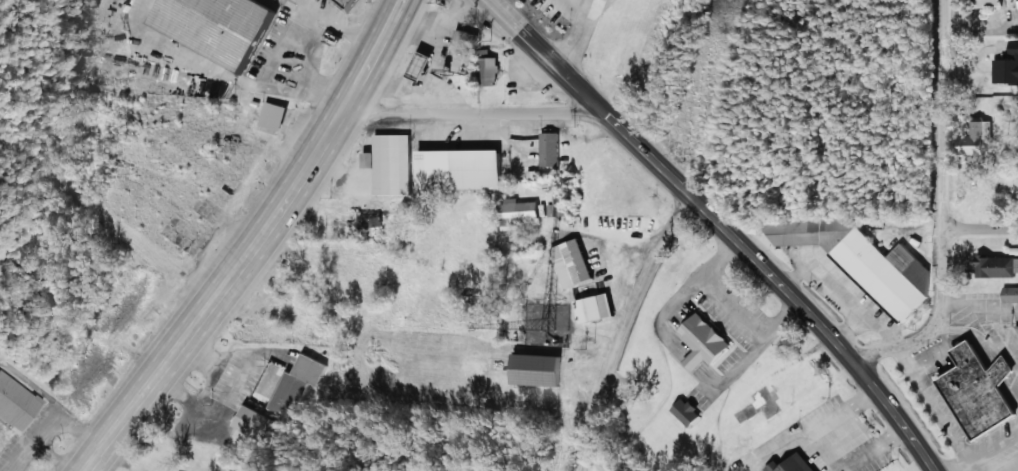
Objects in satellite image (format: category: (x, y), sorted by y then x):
building: (988, 2)
building: (350, 3)
building: (221, 26)
building: (464, 50)
building: (424, 65)
building: (1008, 66)
building: (490, 71)
building: (276, 115)
building: (977, 141)
building: (551, 148)
building: (392, 163)
building: (461, 168)
building: (557, 206)
road: (944, 208)
building: (519, 212)
road: (277, 215)
building: (379, 221)
road: (719, 226)
road: (981, 234)
building: (864, 260)
building: (573, 263)
building: (998, 266)
building: (1011, 294)
building: (593, 303)
road: (623, 329)
building: (705, 341)
road: (979, 344)
building: (540, 369)
building: (298, 384)
building: (981, 389)
building: (16, 403)
building: (688, 412)
road: (626, 421)
building: (260, 424)
road: (849, 433)
road: (106, 442)
building: (792, 463)
road: (1015, 469)

